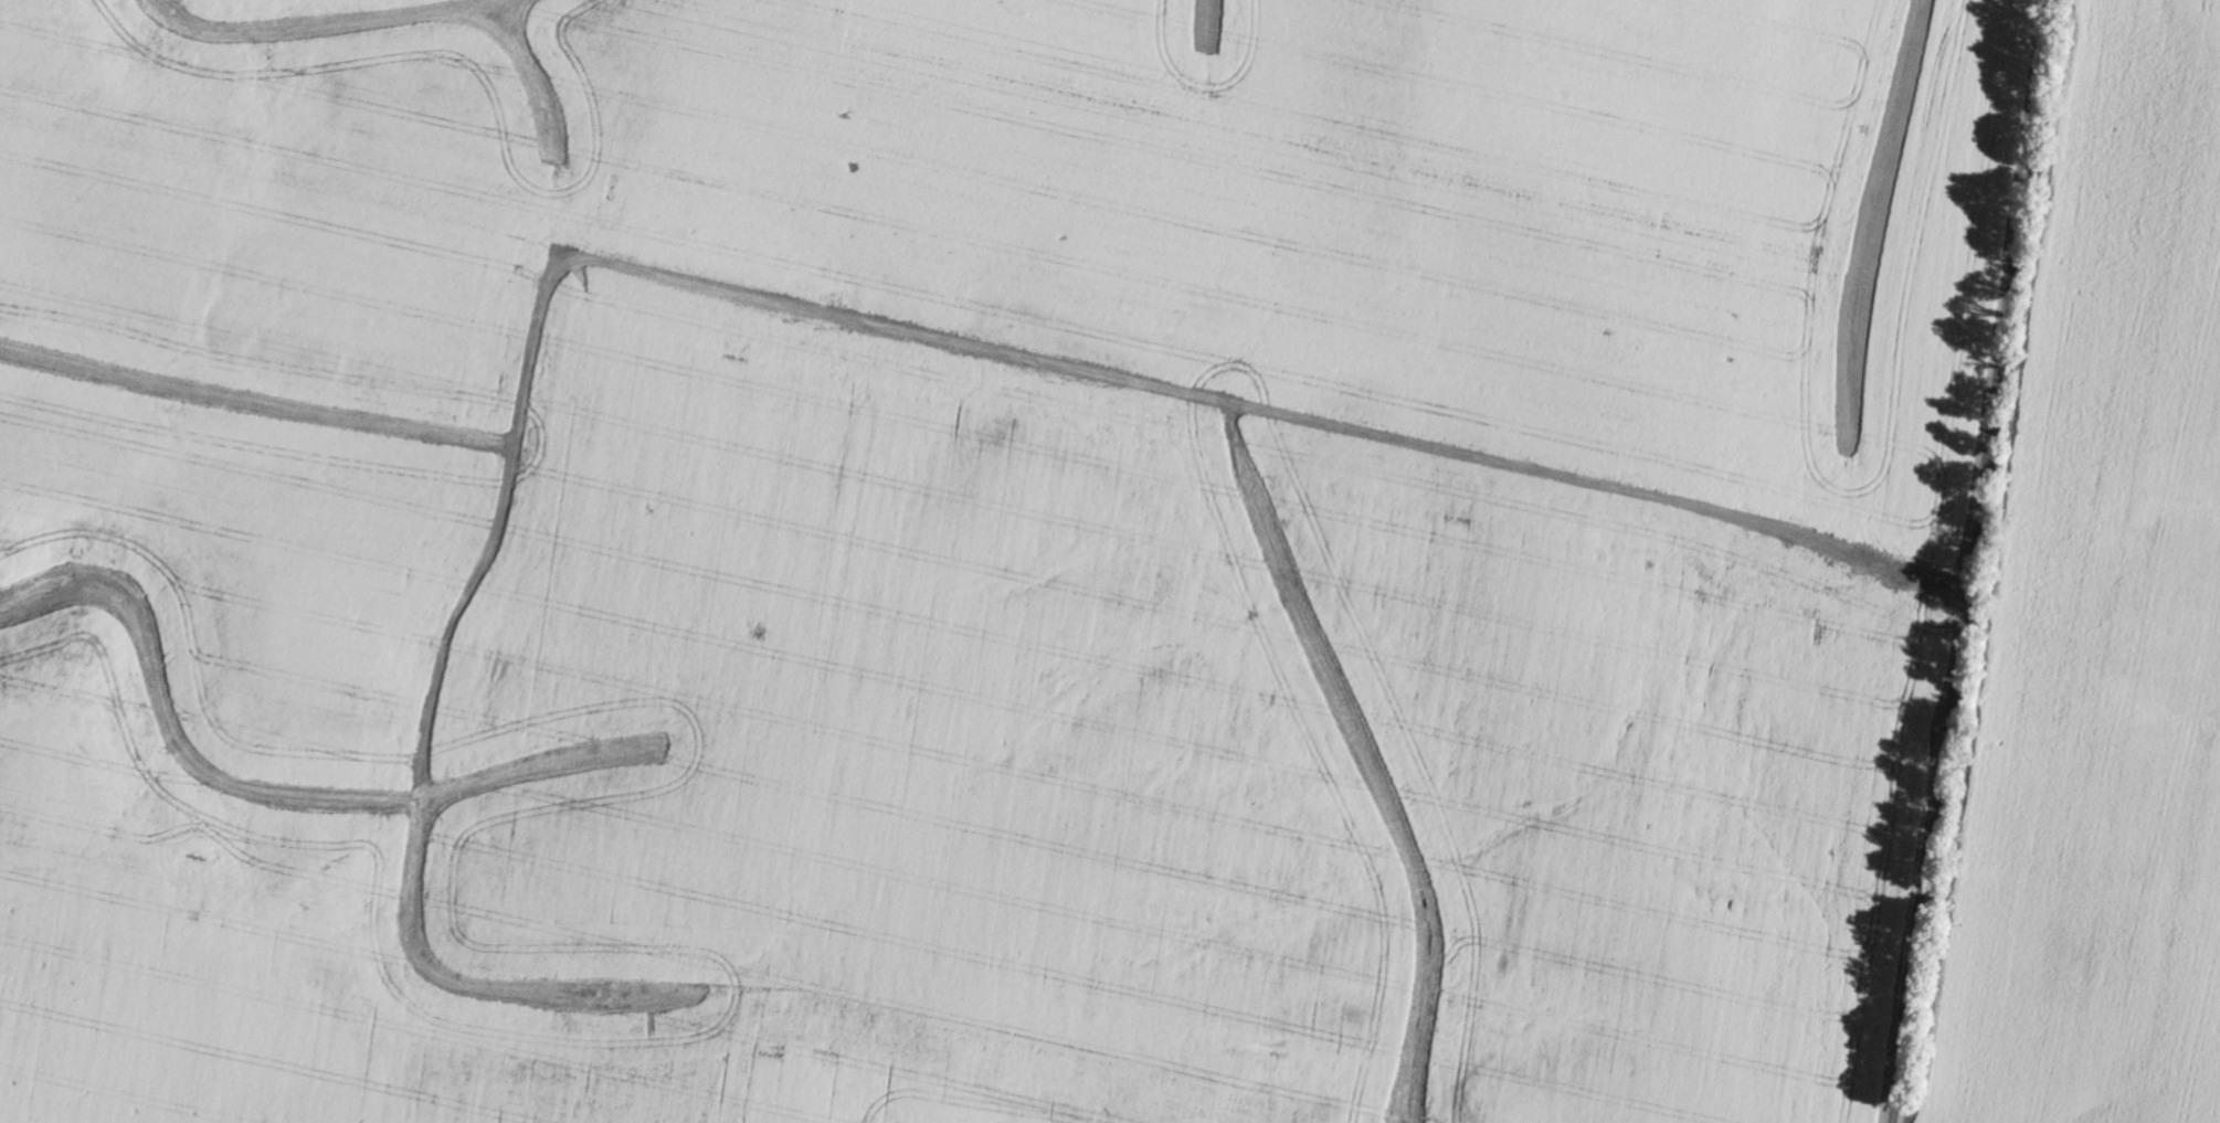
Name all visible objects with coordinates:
road: (1971, 561)

